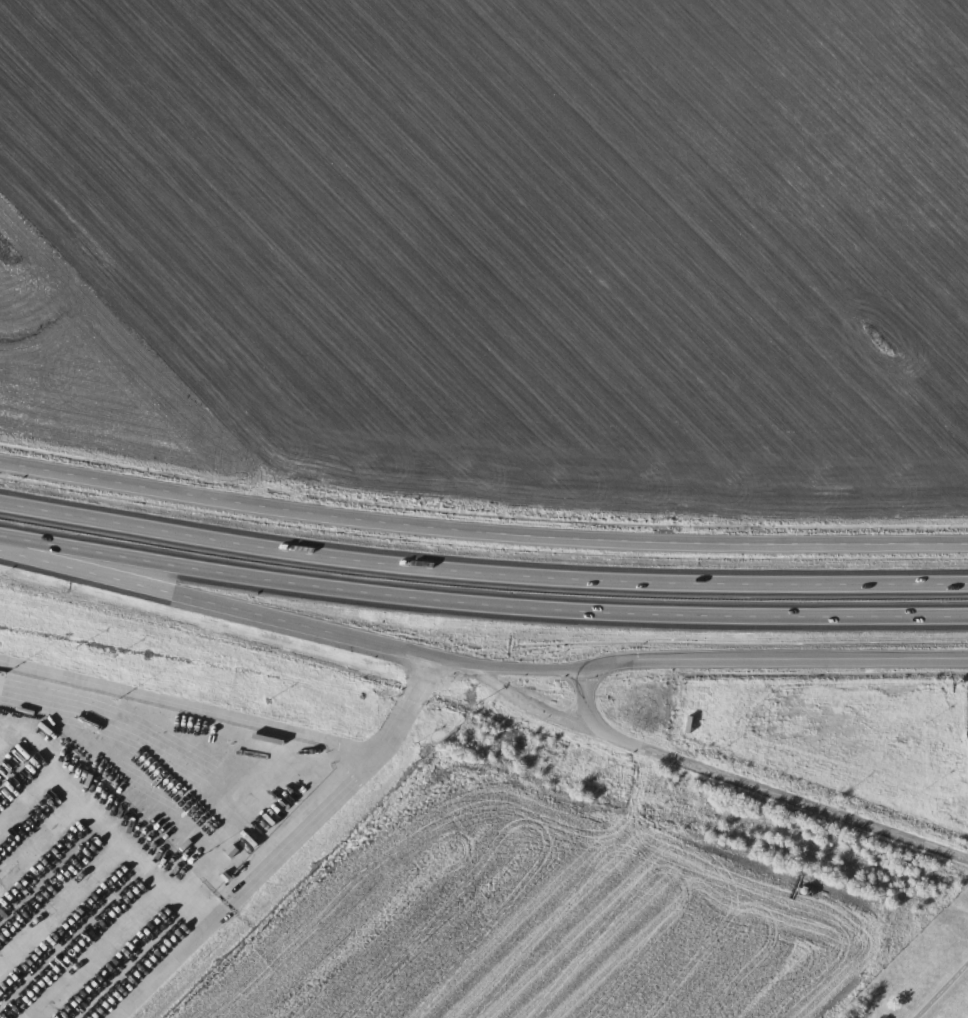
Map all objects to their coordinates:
road: (481, 533)
road: (481, 571)
road: (231, 603)
road: (481, 603)
road: (714, 657)
road: (585, 698)
road: (242, 716)
road: (710, 768)
road: (242, 883)
road: (942, 990)

